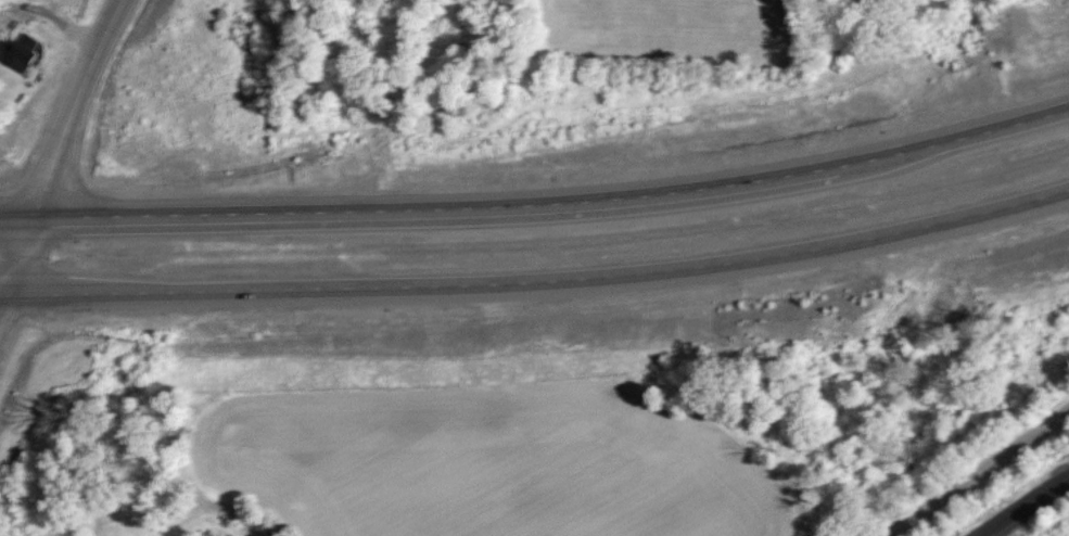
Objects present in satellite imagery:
park: (623, 29)
building: (21, 52)
road: (67, 109)
road: (539, 191)
road: (5, 232)
road: (538, 283)
road: (978, 475)
railway: (1029, 508)

